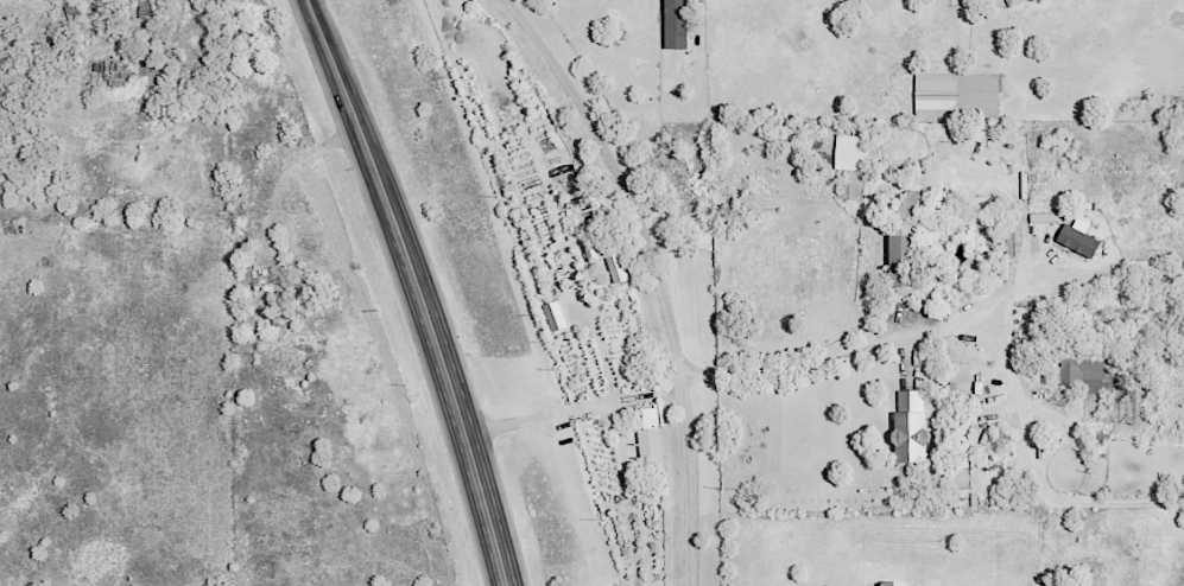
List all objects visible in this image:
building: (1015, 1)
building: (150, 7)
building: (680, 24)
building: (116, 72)
building: (960, 94)
building: (854, 152)
building: (1082, 240)
building: (911, 242)
building: (604, 249)
building: (620, 268)
road: (657, 273)
road: (417, 288)
building: (559, 314)
road: (596, 333)
road: (986, 333)
building: (1085, 355)
building: (1084, 375)
road: (575, 409)
building: (914, 427)
building: (653, 432)
building: (899, 582)

